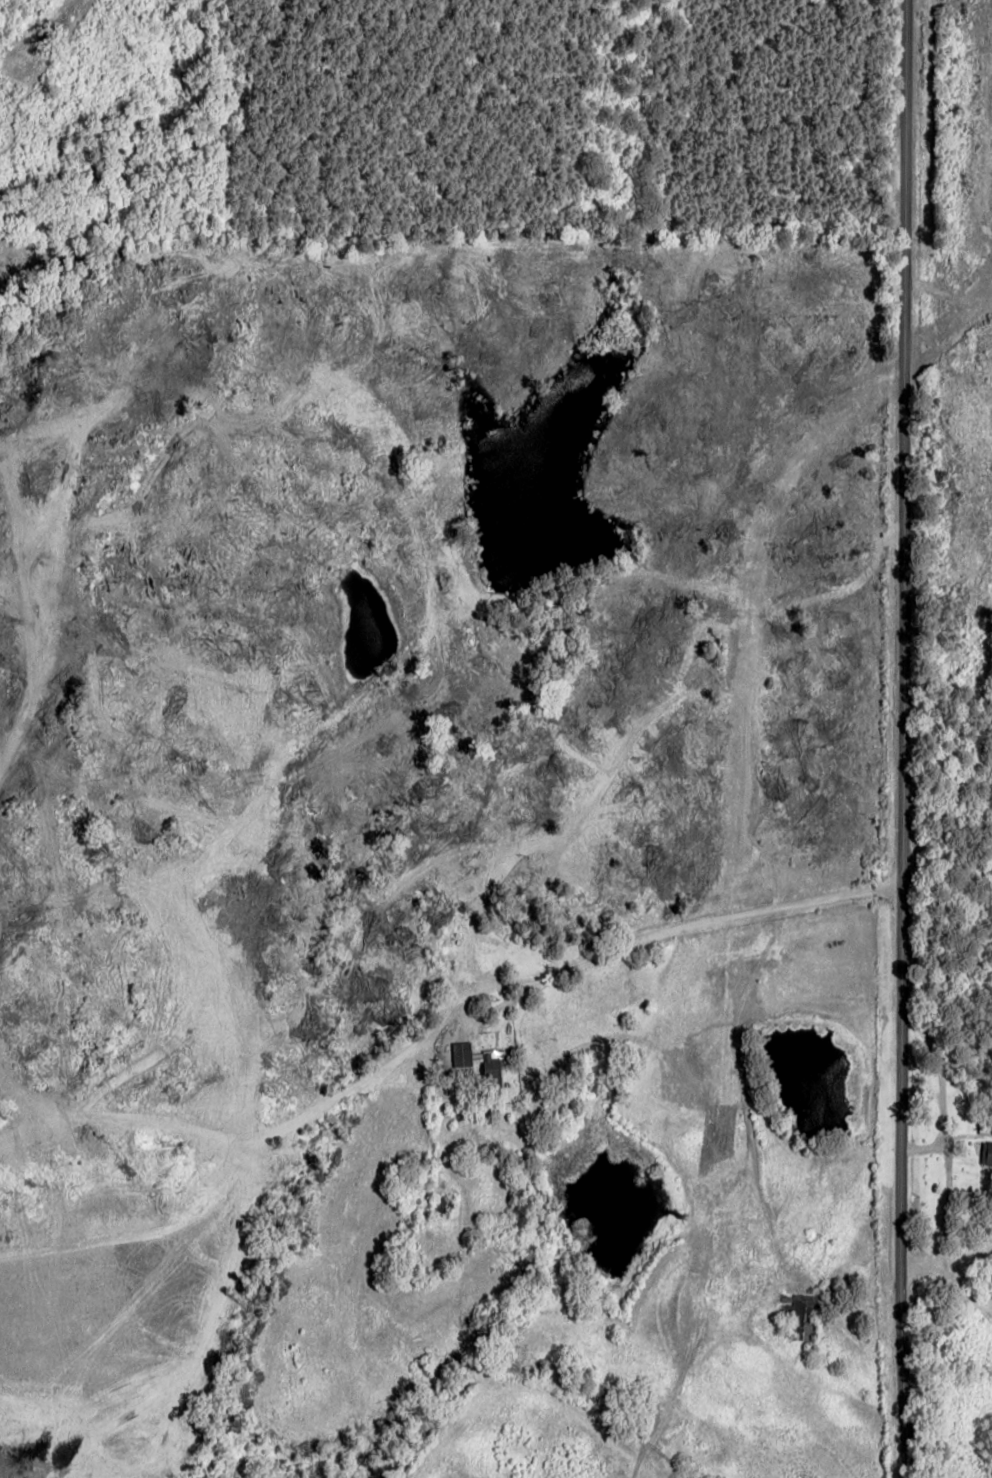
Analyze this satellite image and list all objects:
road: (921, 738)
road: (961, 797)
building: (462, 1054)
building: (493, 1067)
building: (989, 1154)
building: (803, 1315)

